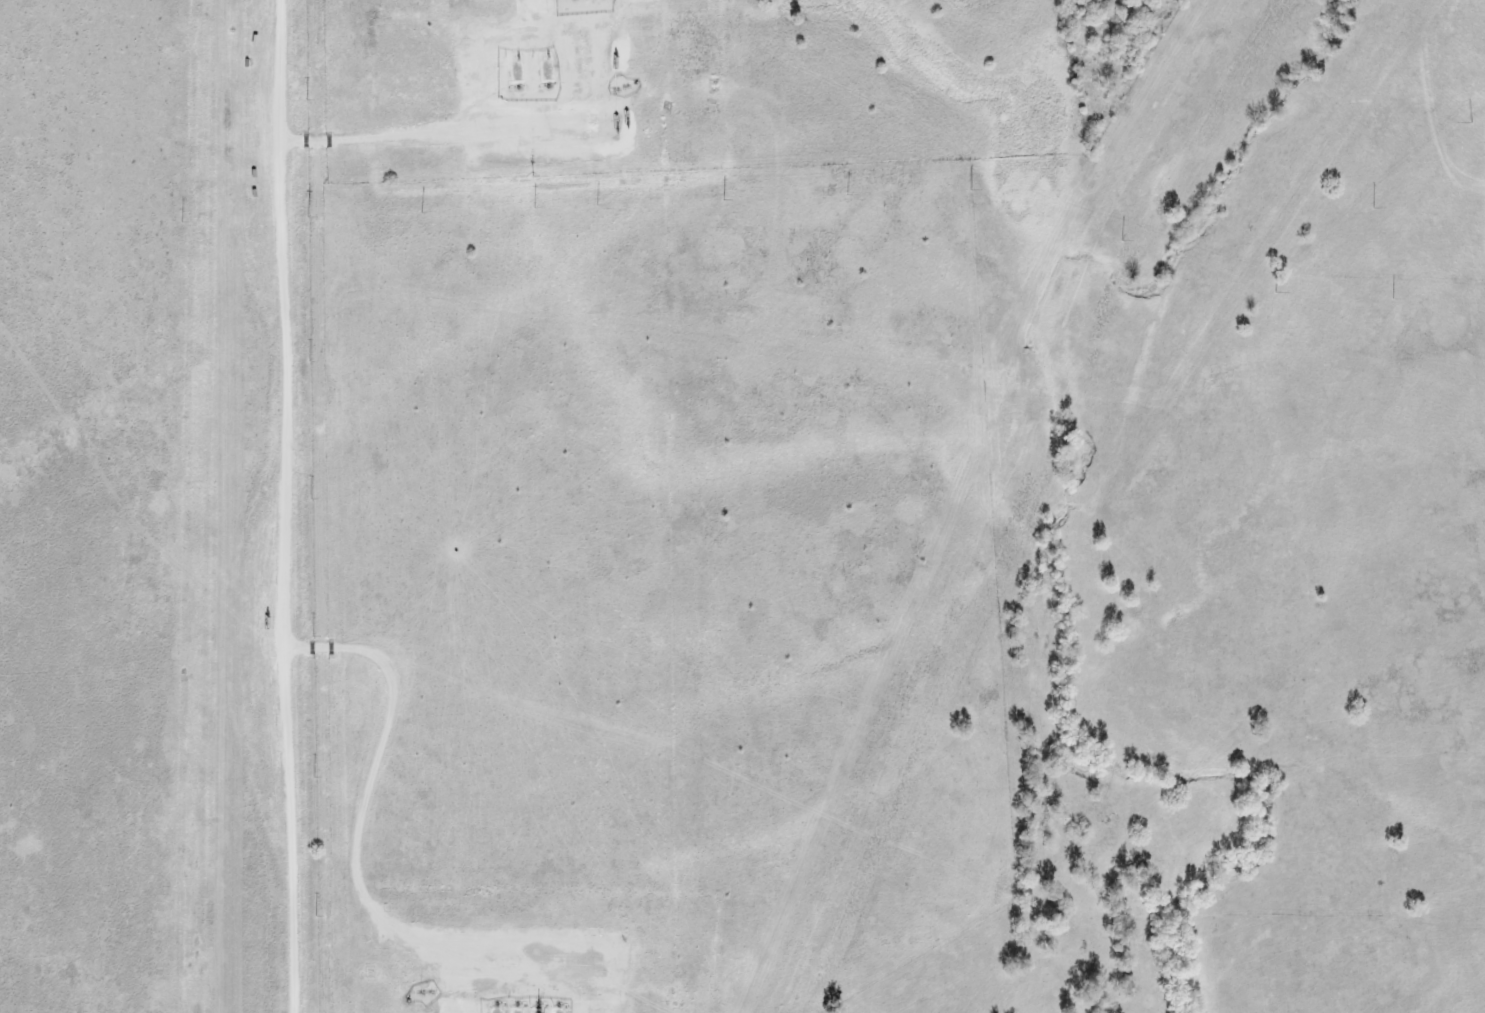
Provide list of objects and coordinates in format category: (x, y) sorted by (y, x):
petroleum well: (518, 73)
road: (418, 136)
road: (277, 506)
road: (351, 863)

